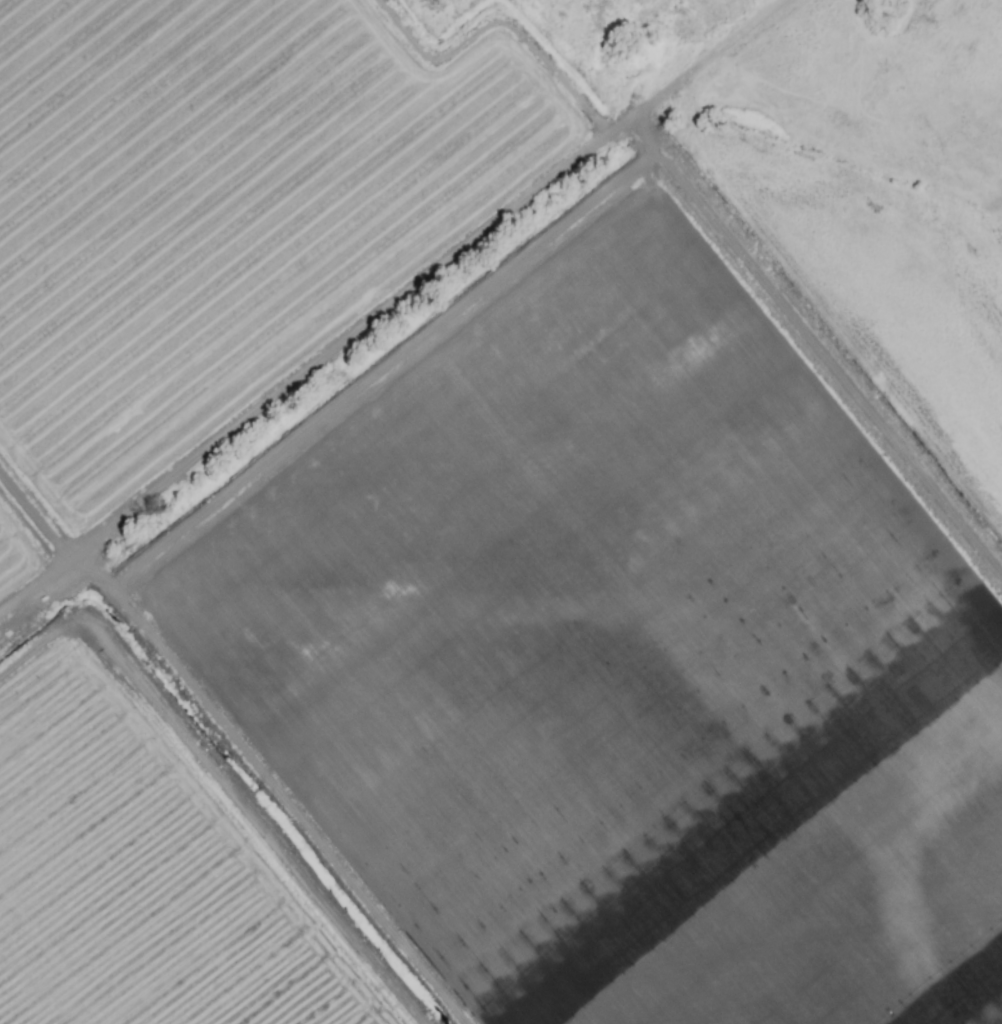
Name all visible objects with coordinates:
crop: (501, 512)

